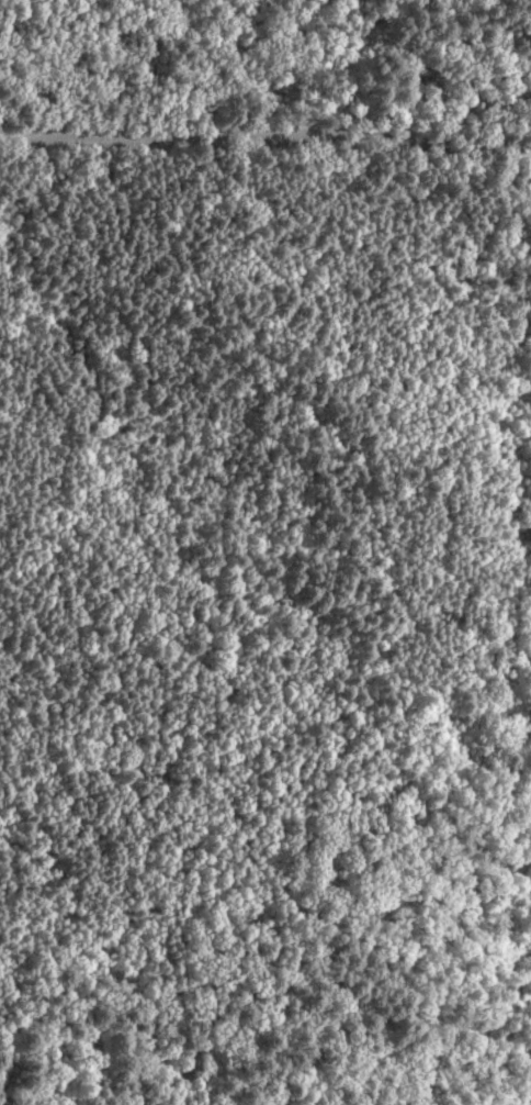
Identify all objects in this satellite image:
road: (264, 134)

